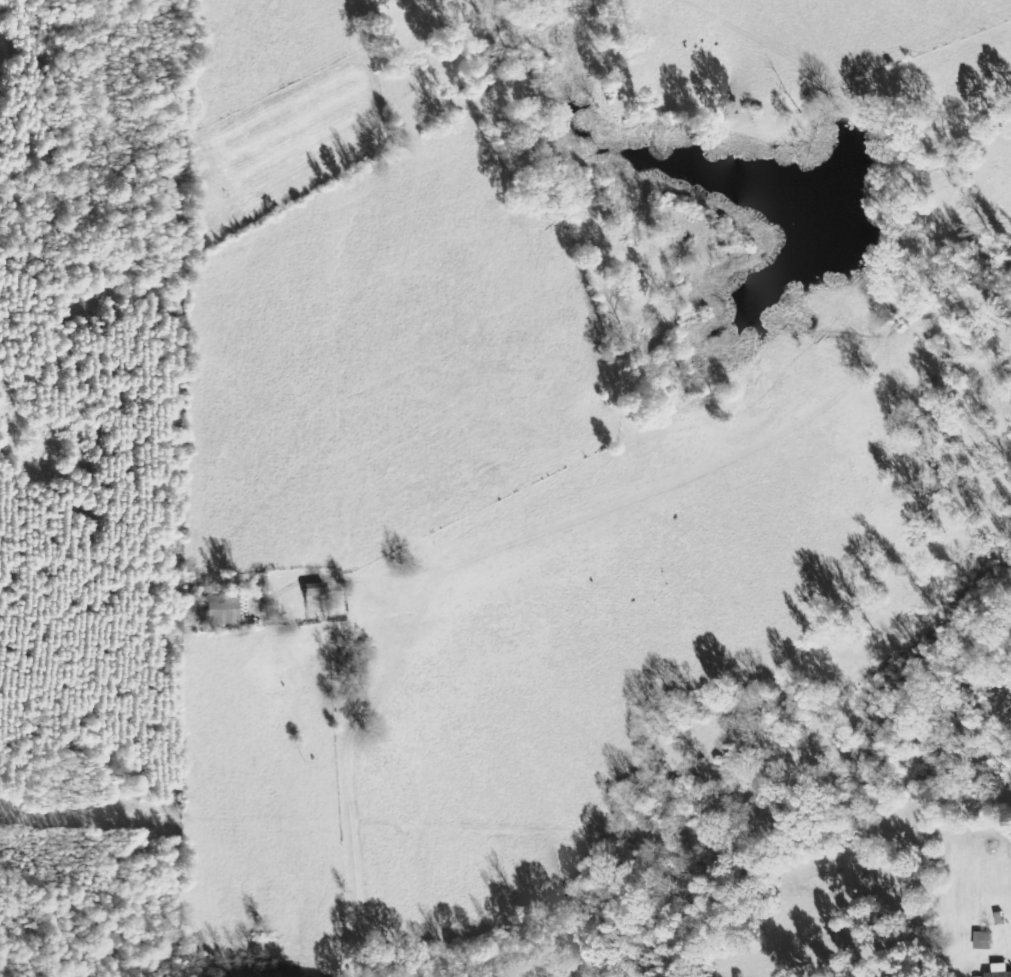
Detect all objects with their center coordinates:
building: (220, 609)
road: (347, 765)
building: (984, 940)
building: (1001, 970)

